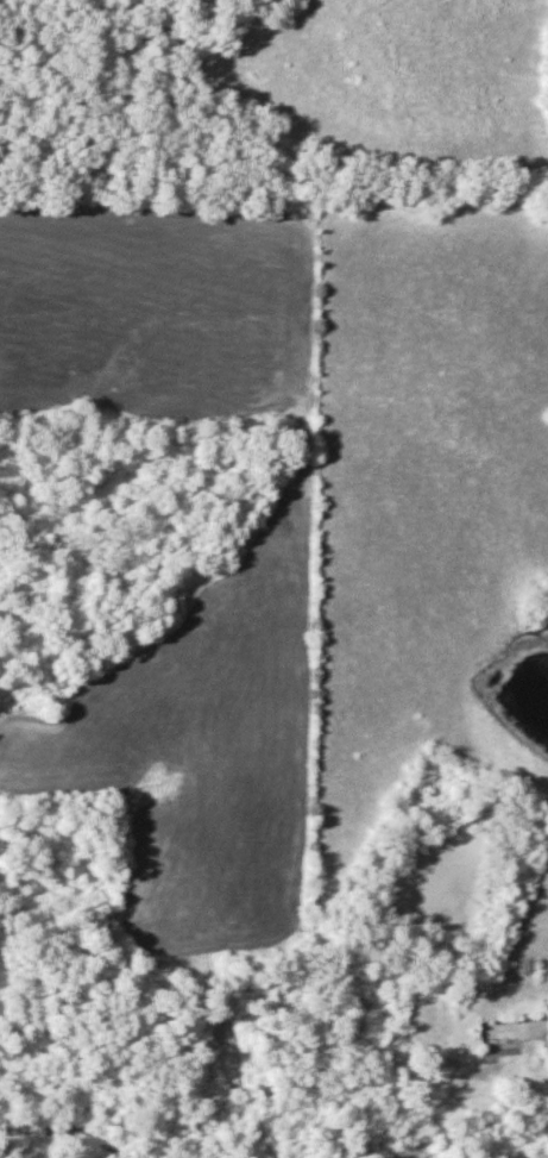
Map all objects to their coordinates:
building: (509, 1032)
road: (546, 1054)
building: (401, 1132)

